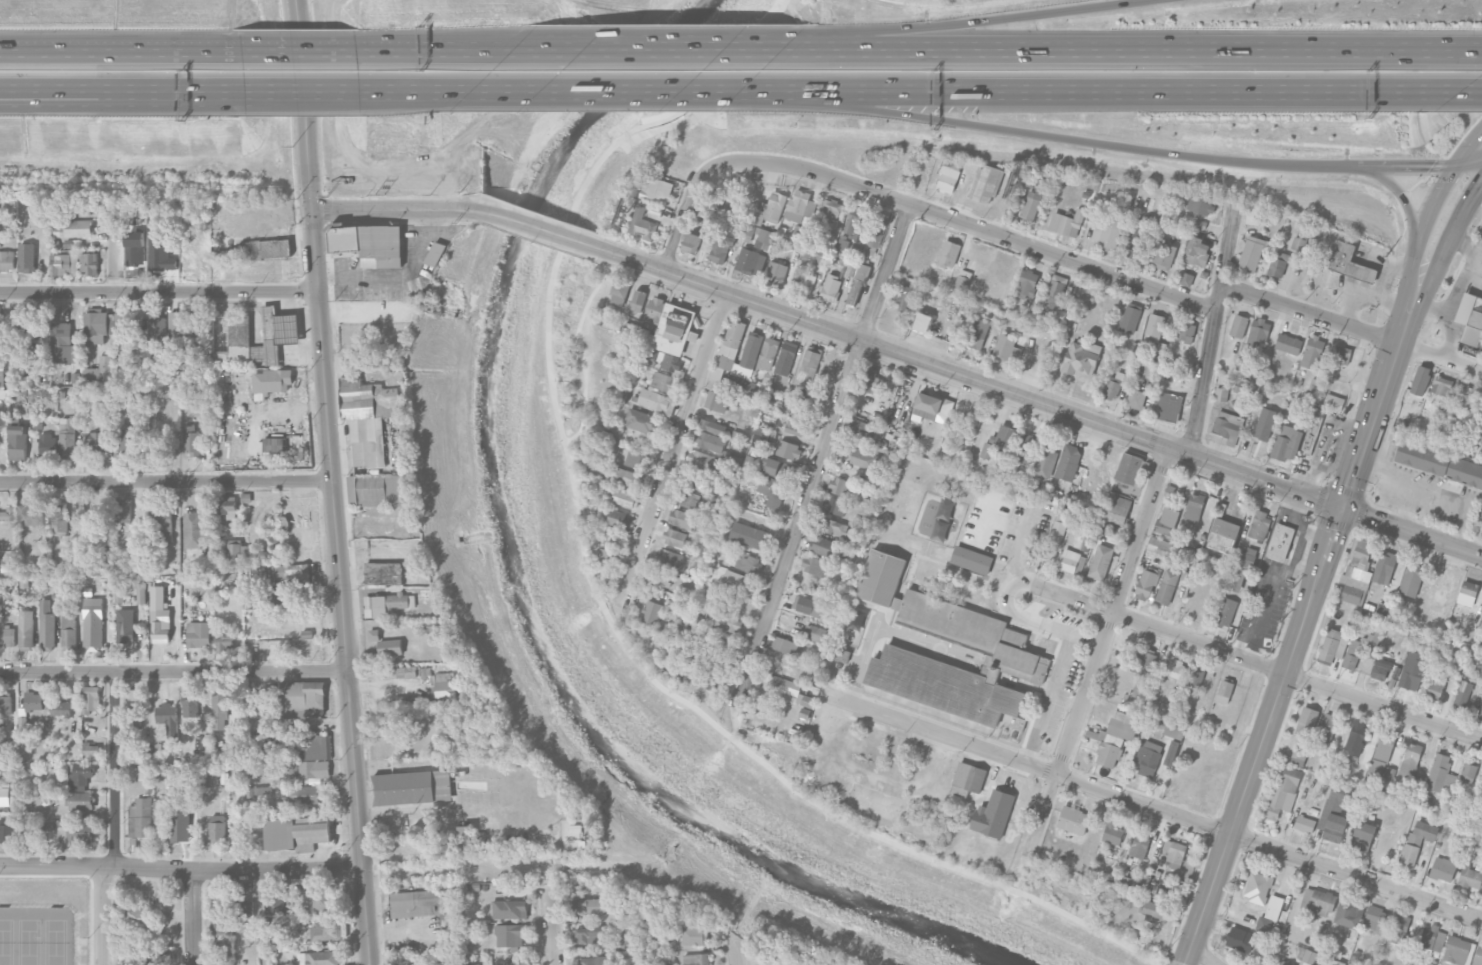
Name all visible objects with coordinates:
road: (976, 25)
road: (36, 47)
road: (1144, 48)
road: (439, 49)
road: (661, 49)
road: (36, 51)
road: (157, 52)
road: (304, 52)
road: (120, 88)
road: (301, 90)
road: (418, 91)
road: (1186, 91)
road: (609, 92)
road: (824, 92)
road: (751, 93)
road: (120, 96)
traffic signals: (1481, 134)
road: (1051, 138)
road: (1469, 149)
road: (1470, 165)
road: (1444, 166)
road: (1389, 167)
traffic signals: (1431, 167)
building: (948, 176)
building: (986, 183)
traffic signals: (1480, 186)
building: (657, 190)
road: (1397, 192)
building: (1030, 205)
building: (1200, 205)
building: (799, 206)
road: (394, 209)
building: (770, 209)
building: (833, 209)
traffic signals: (312, 211)
building: (703, 215)
building: (1253, 215)
road: (958, 222)
building: (1066, 222)
road: (681, 223)
building: (642, 224)
road: (1424, 224)
building: (78, 228)
road: (539, 228)
building: (851, 228)
building: (1106, 233)
building: (876, 236)
road: (1451, 238)
building: (1136, 240)
building: (694, 242)
building: (1299, 243)
building: (370, 244)
road: (114, 247)
building: (260, 247)
building: (721, 248)
building: (1197, 250)
building: (1251, 253)
building: (948, 254)
building: (1164, 255)
building: (26, 257)
building: (7, 260)
building: (749, 261)
building: (1350, 262)
building: (88, 263)
building: (64, 264)
building: (1278, 265)
building: (777, 273)
road: (396, 276)
building: (1185, 279)
building: (806, 282)
building: (1027, 282)
building: (962, 283)
building: (857, 284)
building: (831, 288)
building: (1057, 292)
road: (159, 293)
building: (619, 293)
building: (902, 295)
building: (638, 299)
building: (655, 309)
building: (0, 315)
building: (1130, 316)
building: (1470, 318)
building: (98, 322)
building: (922, 322)
building: (122, 323)
building: (196, 323)
building: (1238, 324)
building: (156, 325)
building: (177, 325)
building: (1154, 327)
road: (1351, 327)
building: (675, 329)
road: (1213, 331)
building: (1259, 331)
building: (1185, 332)
building: (976, 333)
building: (275, 335)
building: (231, 339)
building: (1288, 343)
building: (63, 344)
building: (1006, 346)
building: (730, 348)
road: (583, 349)
building: (1041, 351)
building: (1312, 351)
building: (768, 354)
building: (1342, 354)
building: (786, 357)
building: (660, 359)
building: (830, 359)
building: (1082, 359)
building: (809, 365)
building: (100, 370)
building: (2, 376)
building: (271, 380)
building: (662, 381)
building: (870, 381)
building: (1114, 385)
building: (1442, 385)
building: (1418, 386)
building: (1221, 394)
building: (1136, 398)
building: (1467, 398)
building: (656, 401)
building: (717, 401)
road: (1041, 402)
building: (1333, 402)
building: (1167, 406)
building: (933, 407)
building: (369, 418)
building: (641, 421)
building: (1265, 423)
building: (710, 426)
building: (797, 427)
building: (1226, 427)
building: (861, 429)
building: (739, 436)
building: (1004, 436)
building: (67, 437)
building: (131, 437)
building: (190, 439)
building: (709, 440)
building: (17, 442)
road: (1324, 442)
building: (96, 443)
building: (1286, 443)
building: (275, 444)
building: (45, 445)
building: (788, 449)
building: (1025, 449)
road: (673, 450)
building: (986, 450)
road: (822, 456)
building: (636, 459)
building: (863, 459)
building: (1047, 459)
building: (701, 460)
building: (1068, 462)
building: (1439, 462)
building: (779, 466)
building: (1129, 468)
building: (629, 477)
building: (698, 481)
road: (167, 482)
road: (334, 482)
building: (840, 486)
building: (376, 489)
building: (772, 490)
road: (1431, 493)
building: (626, 498)
building: (688, 498)
park: (906, 501)
building: (833, 505)
building: (226, 506)
building: (1194, 507)
road: (1404, 507)
traffic signals: (1341, 508)
building: (1116, 509)
building: (122, 510)
building: (7, 514)
building: (31, 515)
building: (1480, 516)
building: (58, 518)
building: (682, 518)
building: (619, 519)
building: (1167, 521)
building: (163, 522)
road: (1296, 522)
building: (1259, 525)
building: (831, 526)
building: (377, 527)
building: (1058, 528)
building: (193, 529)
building: (1114, 529)
parking lot: (1025, 535)
building: (1223, 535)
building: (750, 536)
building: (981, 536)
building: (613, 538)
building: (676, 538)
building: (858, 542)
road: (1020, 542)
building: (1280, 542)
building: (1159, 545)
building: (822, 546)
building: (236, 552)
building: (1245, 556)
building: (607, 557)
building: (665, 557)
building: (972, 561)
building: (1071, 561)
road: (1293, 561)
building: (1100, 562)
building: (748, 563)
building: (6, 565)
building: (814, 565)
building: (1384, 567)
building: (285, 572)
building: (383, 573)
building: (1357, 573)
building: (660, 576)
building: (882, 578)
building: (1234, 578)
building: (1411, 579)
building: (739, 581)
building: (1146, 585)
building: (1167, 586)
building: (141, 593)
road: (593, 593)
building: (1468, 593)
building: (119, 595)
building: (286, 597)
building: (251, 600)
building: (387, 604)
building: (807, 606)
building: (1226, 611)
building: (652, 612)
road: (1262, 613)
building: (159, 616)
building: (725, 621)
road: (1032, 622)
building: (93, 624)
building: (46, 626)
building: (125, 626)
road: (1301, 626)
building: (25, 630)
building: (68, 631)
building: (198, 634)
building: (819, 634)
building: (374, 635)
building: (7, 636)
building: (974, 636)
building: (224, 640)
building: (784, 645)
road: (927, 646)
building: (1333, 646)
building: (390, 647)
building: (1360, 650)
road: (1098, 652)
building: (842, 656)
building: (708, 657)
road: (864, 657)
building: (1143, 661)
building: (781, 663)
road: (1255, 664)
parking lot: (1055, 668)
building: (1380, 669)
building: (1412, 670)
building: (1481, 670)
road: (174, 672)
building: (394, 672)
building: (700, 677)
building: (1195, 678)
building: (446, 685)
building: (944, 686)
building: (790, 687)
building: (1436, 687)
building: (1225, 691)
building: (1462, 694)
building: (134, 698)
building: (91, 699)
building: (301, 699)
road: (1048, 700)
building: (34, 701)
building: (5, 703)
building: (190, 705)
building: (254, 706)
building: (61, 708)
building: (219, 711)
building: (1480, 716)
building: (167, 718)
building: (1307, 720)
building: (1018, 724)
building: (1326, 730)
building: (1173, 731)
building: (1356, 736)
building: (1113, 738)
building: (268, 742)
building: (1385, 743)
building: (7, 745)
building: (313, 747)
building: (90, 749)
building: (1147, 757)
building: (1410, 761)
building: (1377, 766)
building: (313, 769)
road: (116, 770)
building: (145, 772)
building: (1438, 772)
building: (1468, 772)
building: (80, 775)
building: (967, 779)
building: (412, 787)
building: (1283, 791)
building: (309, 794)
building: (260, 795)
building: (5, 796)
building: (80, 800)
road: (1150, 805)
building: (159, 811)
building: (993, 814)
building: (1334, 814)
building: (140, 817)
building: (1073, 820)
building: (1305, 824)
building: (180, 825)
building: (217, 827)
building: (72, 832)
building: (1113, 832)
building: (1423, 832)
building: (7, 833)
building: (295, 833)
building: (1363, 836)
building: (465, 838)
building: (1139, 846)
building: (1176, 853)
building: (1409, 856)
building: (1443, 869)
road: (182, 871)
building: (1471, 878)
building: (1257, 887)
building: (274, 899)
building: (320, 900)
building: (415, 903)
building: (588, 906)
building: (509, 909)
building: (1155, 910)
building: (1350, 912)
building: (1270, 914)
building: (138, 915)
road: (105, 916)
building: (245, 916)
building: (221, 917)
road: (193, 918)
road: (261, 919)
building: (1376, 919)
building: (448, 923)
road: (551, 923)
building: (326, 929)
building: (1399, 929)
building: (510, 934)
building: (587, 934)
building: (694, 936)
building: (1432, 938)
building: (1240, 939)
park: (6, 941)
park: (29, 942)
park: (55, 942)
road: (738, 949)
building: (1458, 951)
road: (1203, 954)
building: (147, 956)
building: (1478, 956)
building: (1309, 957)
building: (318, 958)
building: (696, 959)
building: (517, 960)
building: (592, 961)
building: (1281, 963)
building: (472, 964)
road: (1185, 964)

